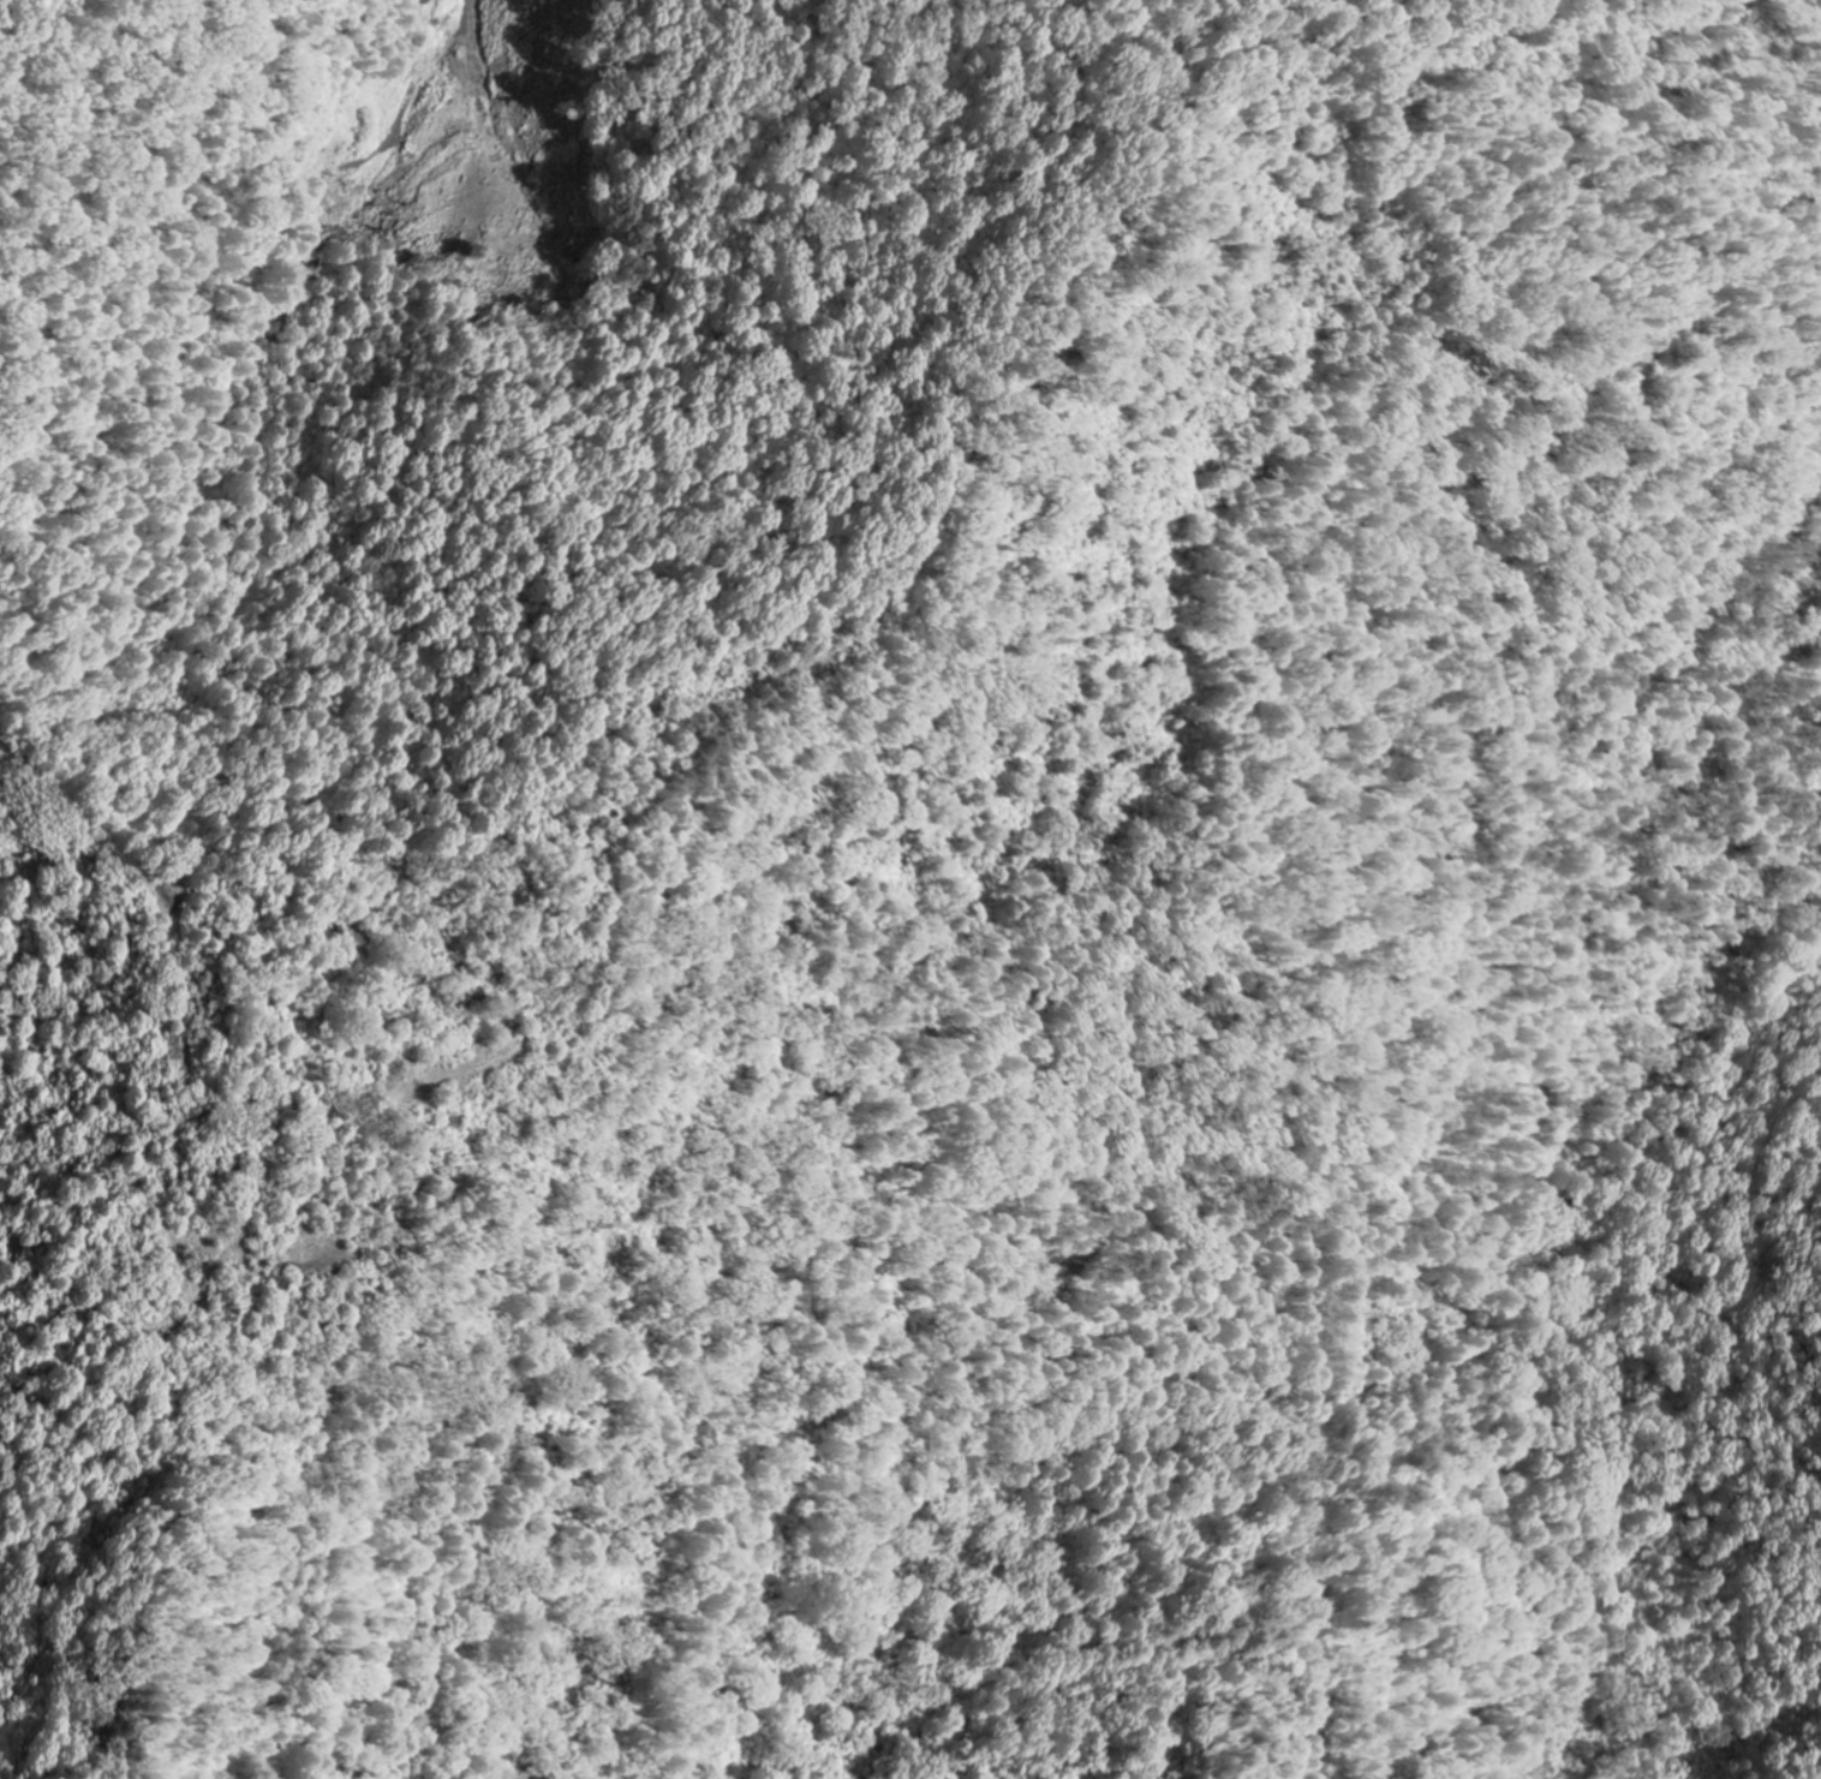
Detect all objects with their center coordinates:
road: (468, 11)

